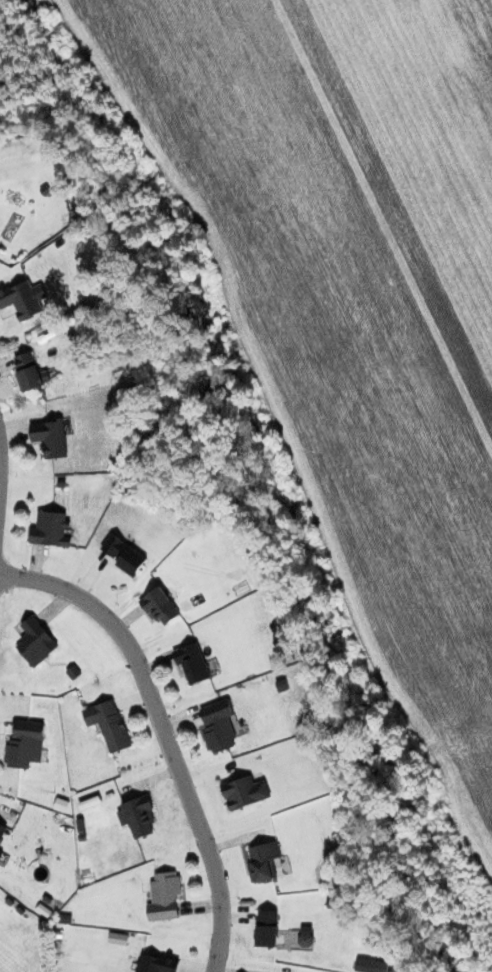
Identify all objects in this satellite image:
building: (0, 246)
building: (24, 298)
building: (31, 371)
building: (52, 436)
building: (50, 529)
building: (124, 555)
building: (160, 606)
building: (36, 641)
building: (192, 662)
building: (109, 724)
building: (219, 725)
road: (164, 735)
building: (25, 743)
building: (245, 792)
building: (138, 815)
building: (2, 830)
building: (1, 854)
building: (268, 861)
building: (164, 896)
building: (267, 928)
building: (371, 965)

